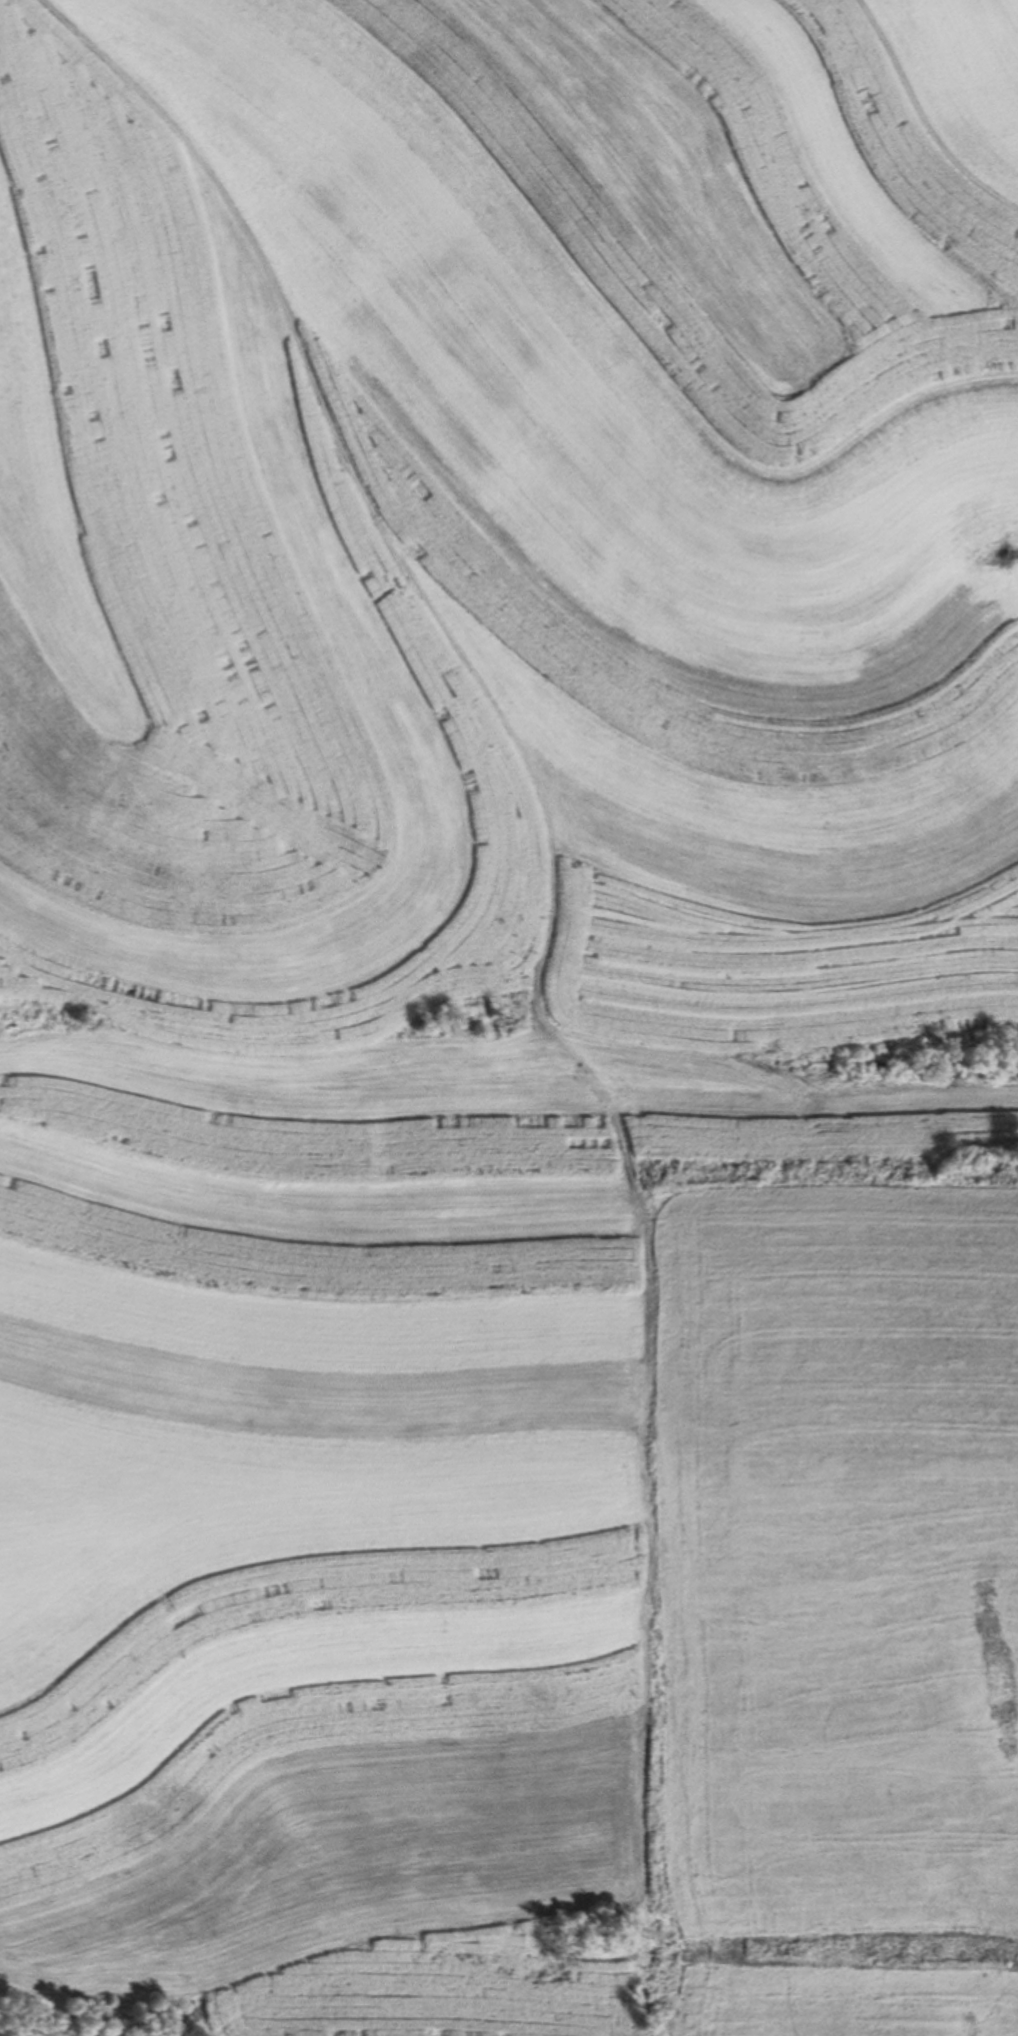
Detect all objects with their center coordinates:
road: (918, 126)
road: (543, 953)

